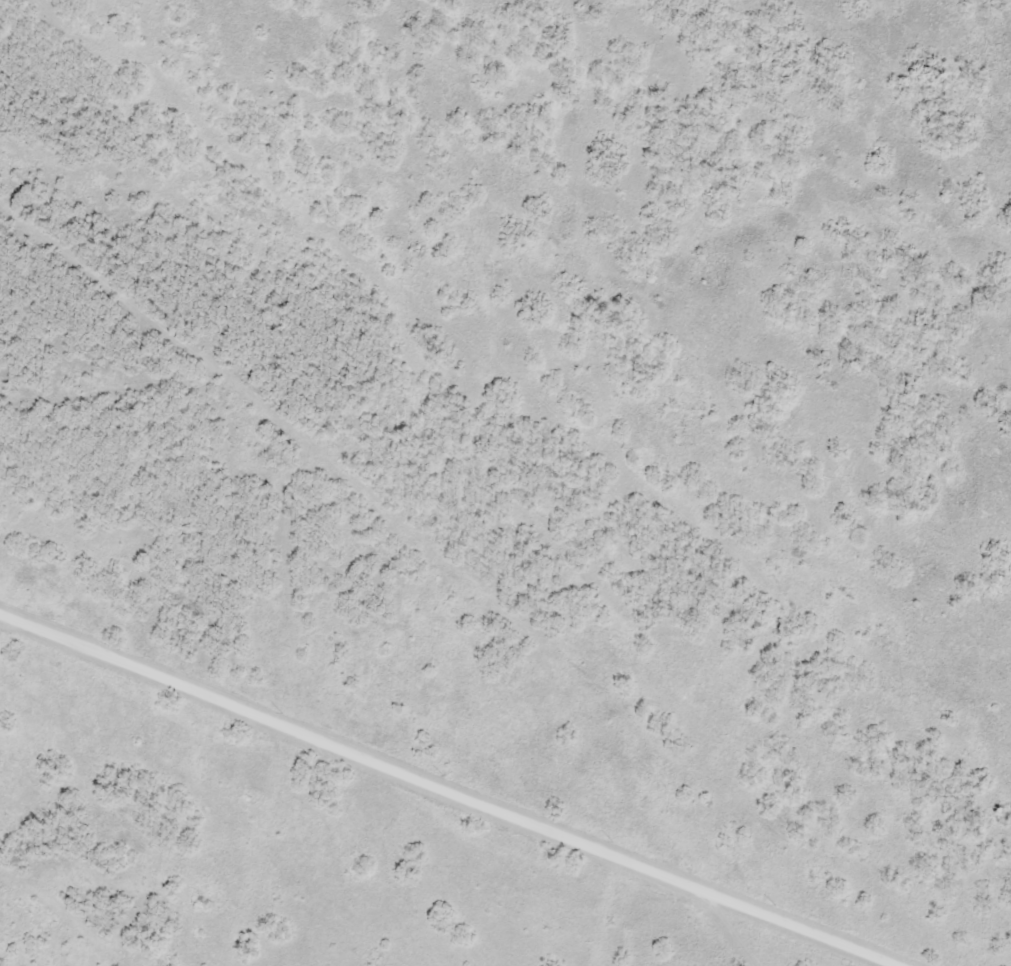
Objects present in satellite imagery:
road: (445, 790)

